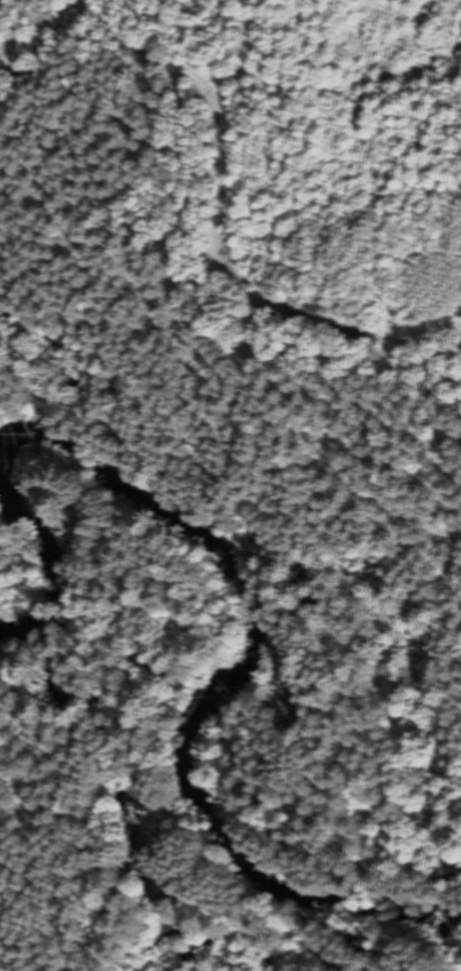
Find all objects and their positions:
road: (230, 452)

